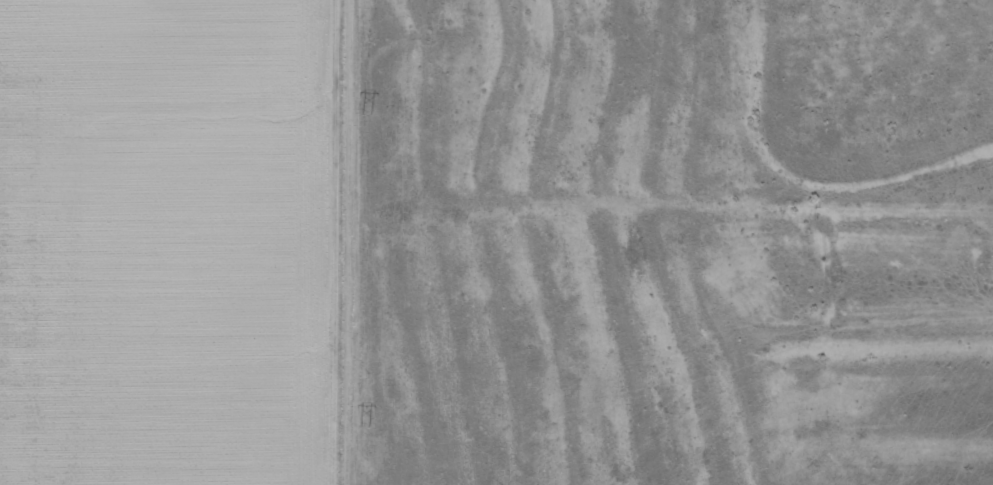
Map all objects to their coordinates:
power tower: (366, 113)
power tower: (364, 427)

